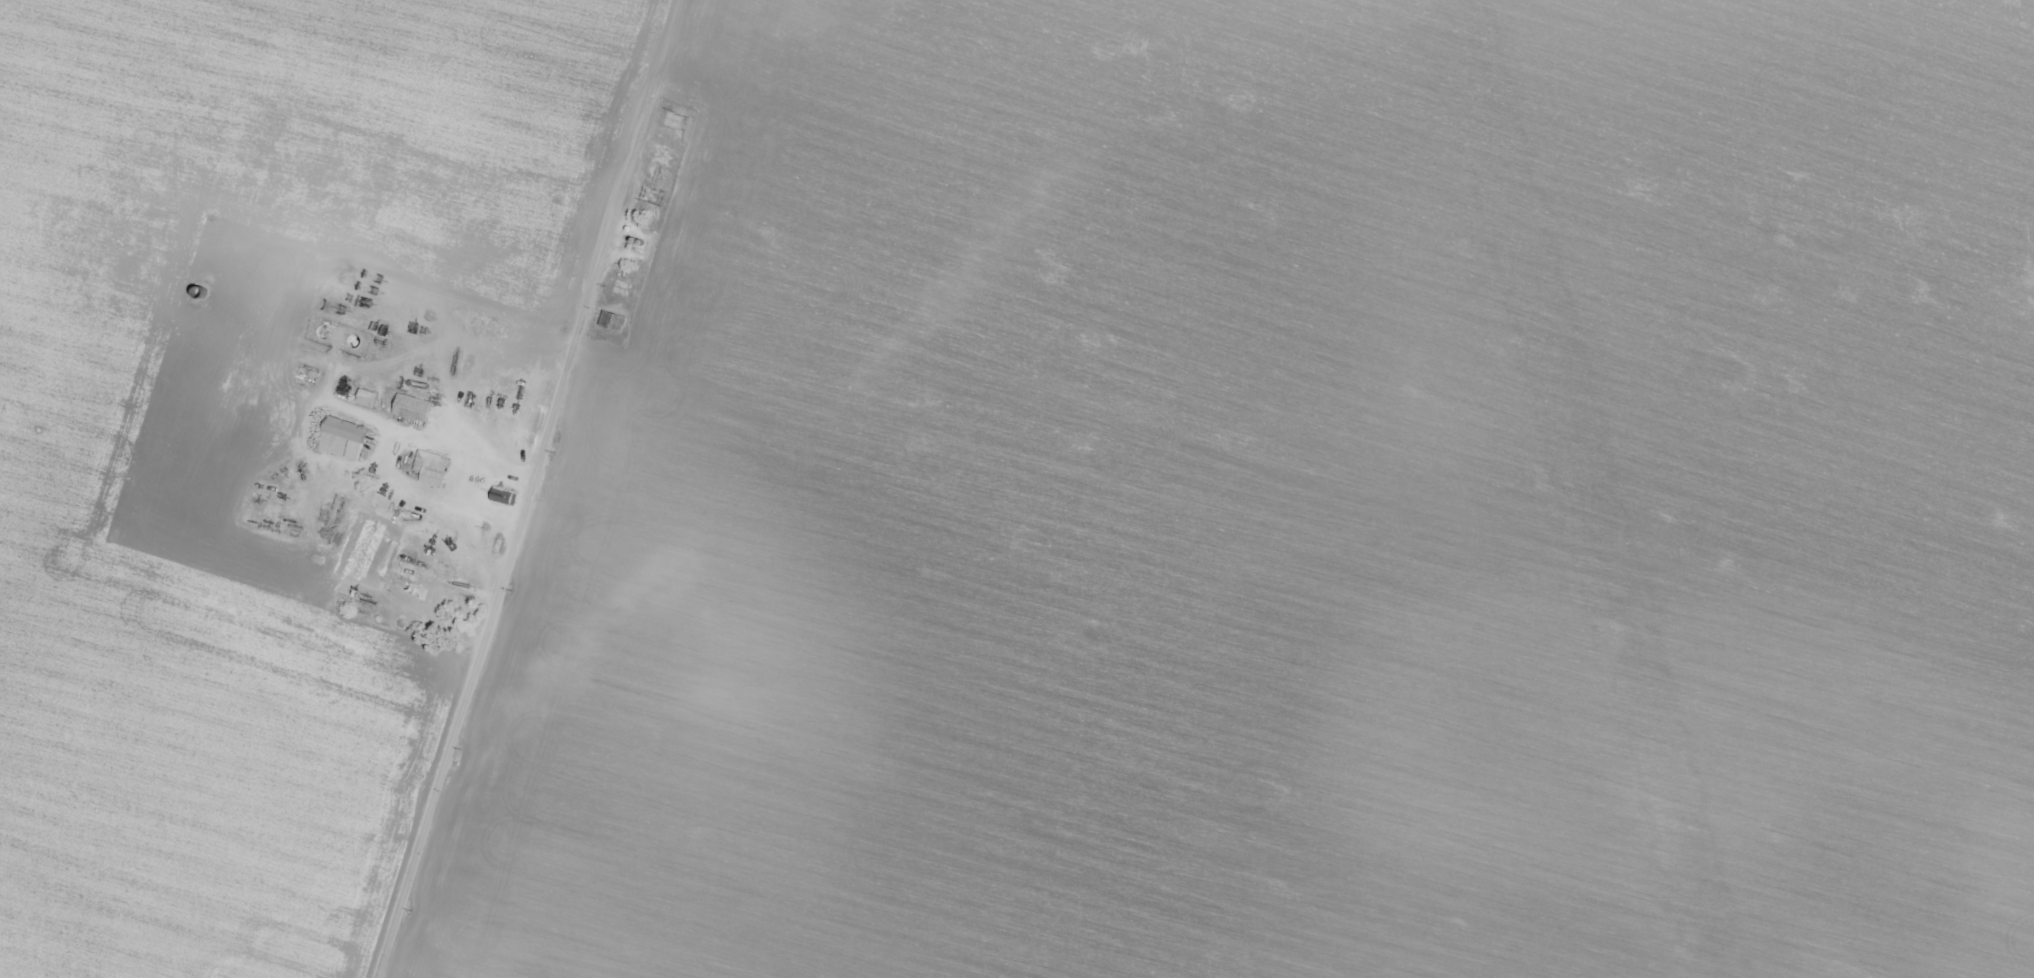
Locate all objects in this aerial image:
building: (307, 376)
building: (367, 398)
building: (412, 408)
building: (342, 438)
building: (430, 468)
road: (551, 489)
building: (501, 498)

